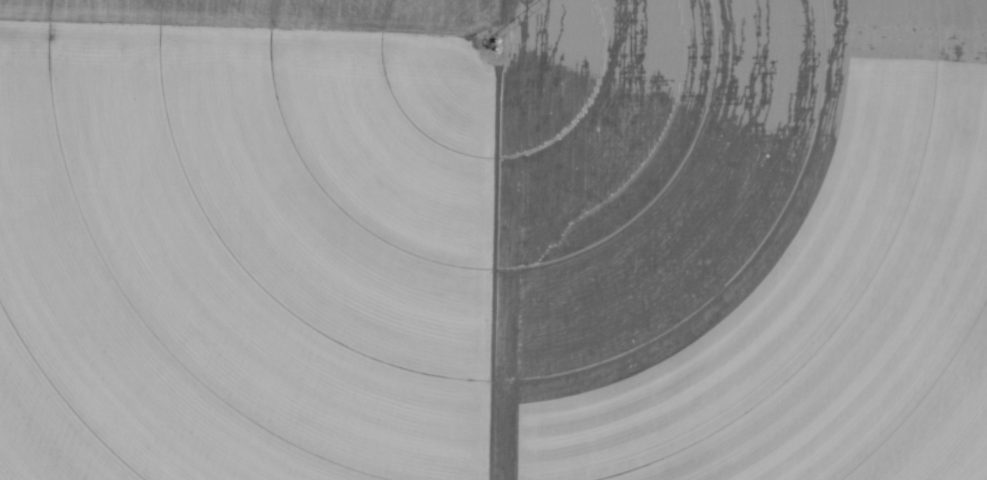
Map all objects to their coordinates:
crop: (493, 240)

